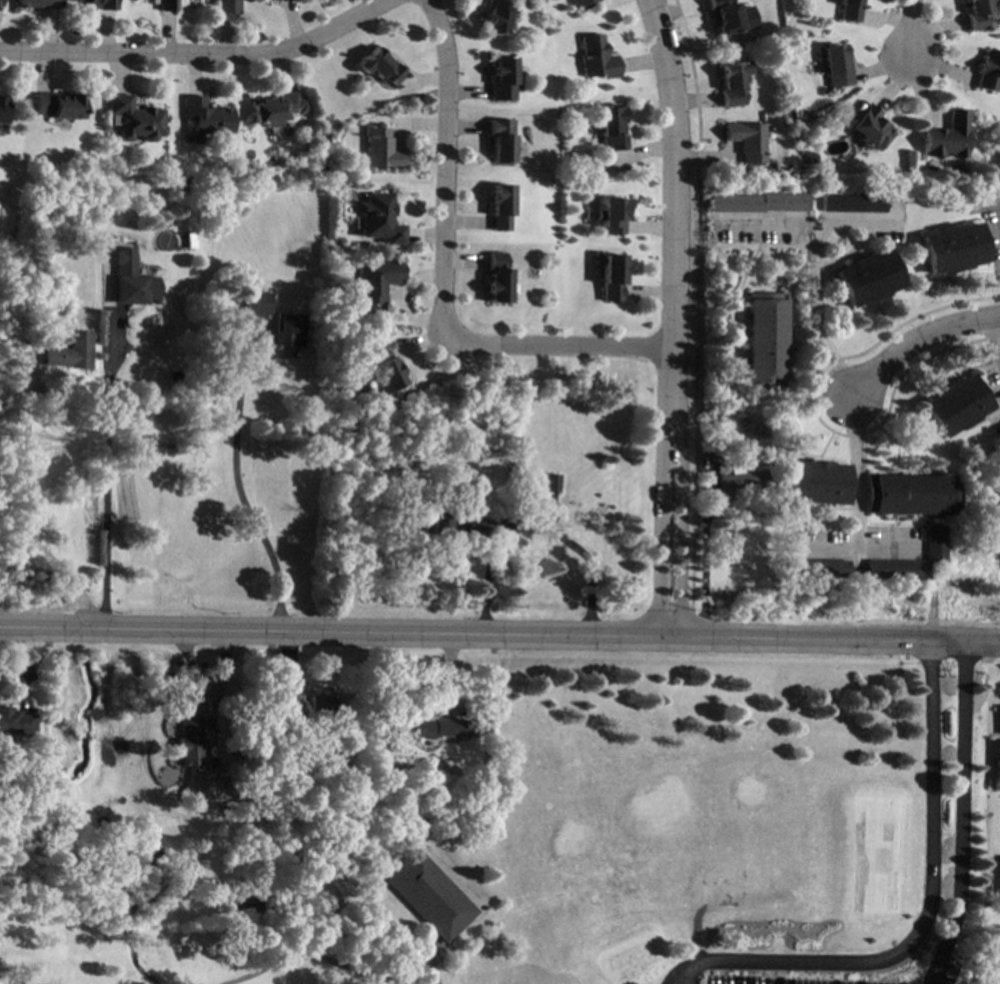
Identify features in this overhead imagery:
building: (280, 0)
building: (38, 3)
building: (101, 3)
building: (581, 4)
building: (167, 5)
building: (229, 6)
building: (996, 8)
building: (848, 10)
building: (976, 14)
building: (496, 16)
building: (727, 17)
road: (911, 28)
building: (596, 57)
road: (201, 58)
building: (378, 66)
building: (836, 66)
building: (988, 71)
building: (502, 79)
building: (733, 83)
building: (57, 103)
building: (275, 107)
building: (2, 110)
building: (206, 116)
building: (134, 118)
building: (871, 126)
building: (612, 127)
building: (945, 137)
building: (500, 138)
building: (747, 140)
building: (379, 149)
building: (758, 202)
building: (853, 203)
building: (500, 207)
road: (999, 214)
building: (612, 216)
building: (379, 218)
building: (952, 248)
building: (611, 277)
building: (867, 278)
building: (133, 279)
building: (496, 279)
road: (441, 280)
building: (372, 285)
building: (258, 303)
road: (672, 314)
road: (811, 316)
building: (290, 333)
road: (916, 337)
road: (993, 337)
building: (765, 338)
building: (71, 352)
building: (381, 370)
building: (122, 388)
building: (954, 405)
building: (772, 414)
building: (507, 458)
building: (405, 459)
building: (979, 474)
building: (550, 483)
building: (815, 483)
building: (743, 485)
road: (107, 491)
road: (240, 492)
building: (911, 494)
road: (852, 501)
road: (28, 510)
building: (455, 524)
building: (934, 543)
road: (821, 549)
building: (956, 562)
road: (586, 566)
building: (815, 568)
road: (485, 578)
road: (500, 632)
building: (312, 703)
building: (15, 721)
building: (425, 727)
building: (187, 730)
building: (360, 746)
building: (40, 764)
building: (999, 768)
building: (203, 786)
road: (960, 815)
park: (610, 845)
building: (430, 895)
road: (922, 919)
road: (320, 958)
road: (427, 960)

